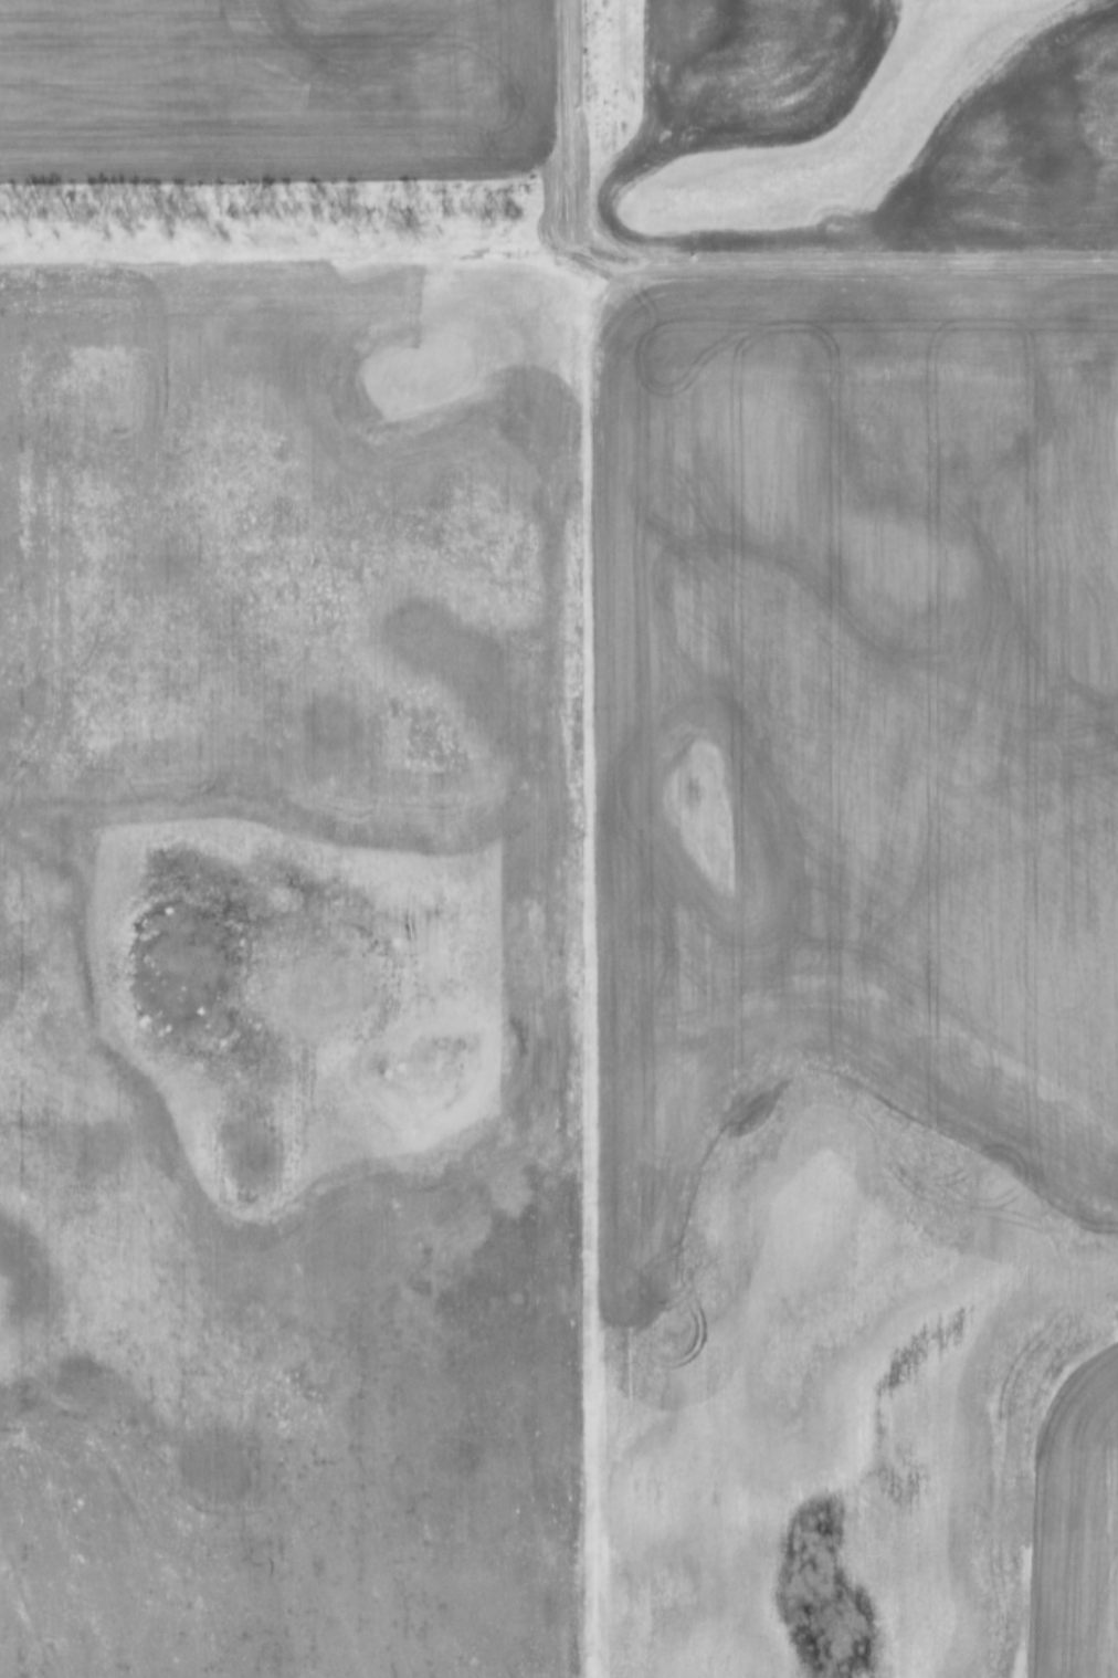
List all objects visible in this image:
road: (579, 838)

